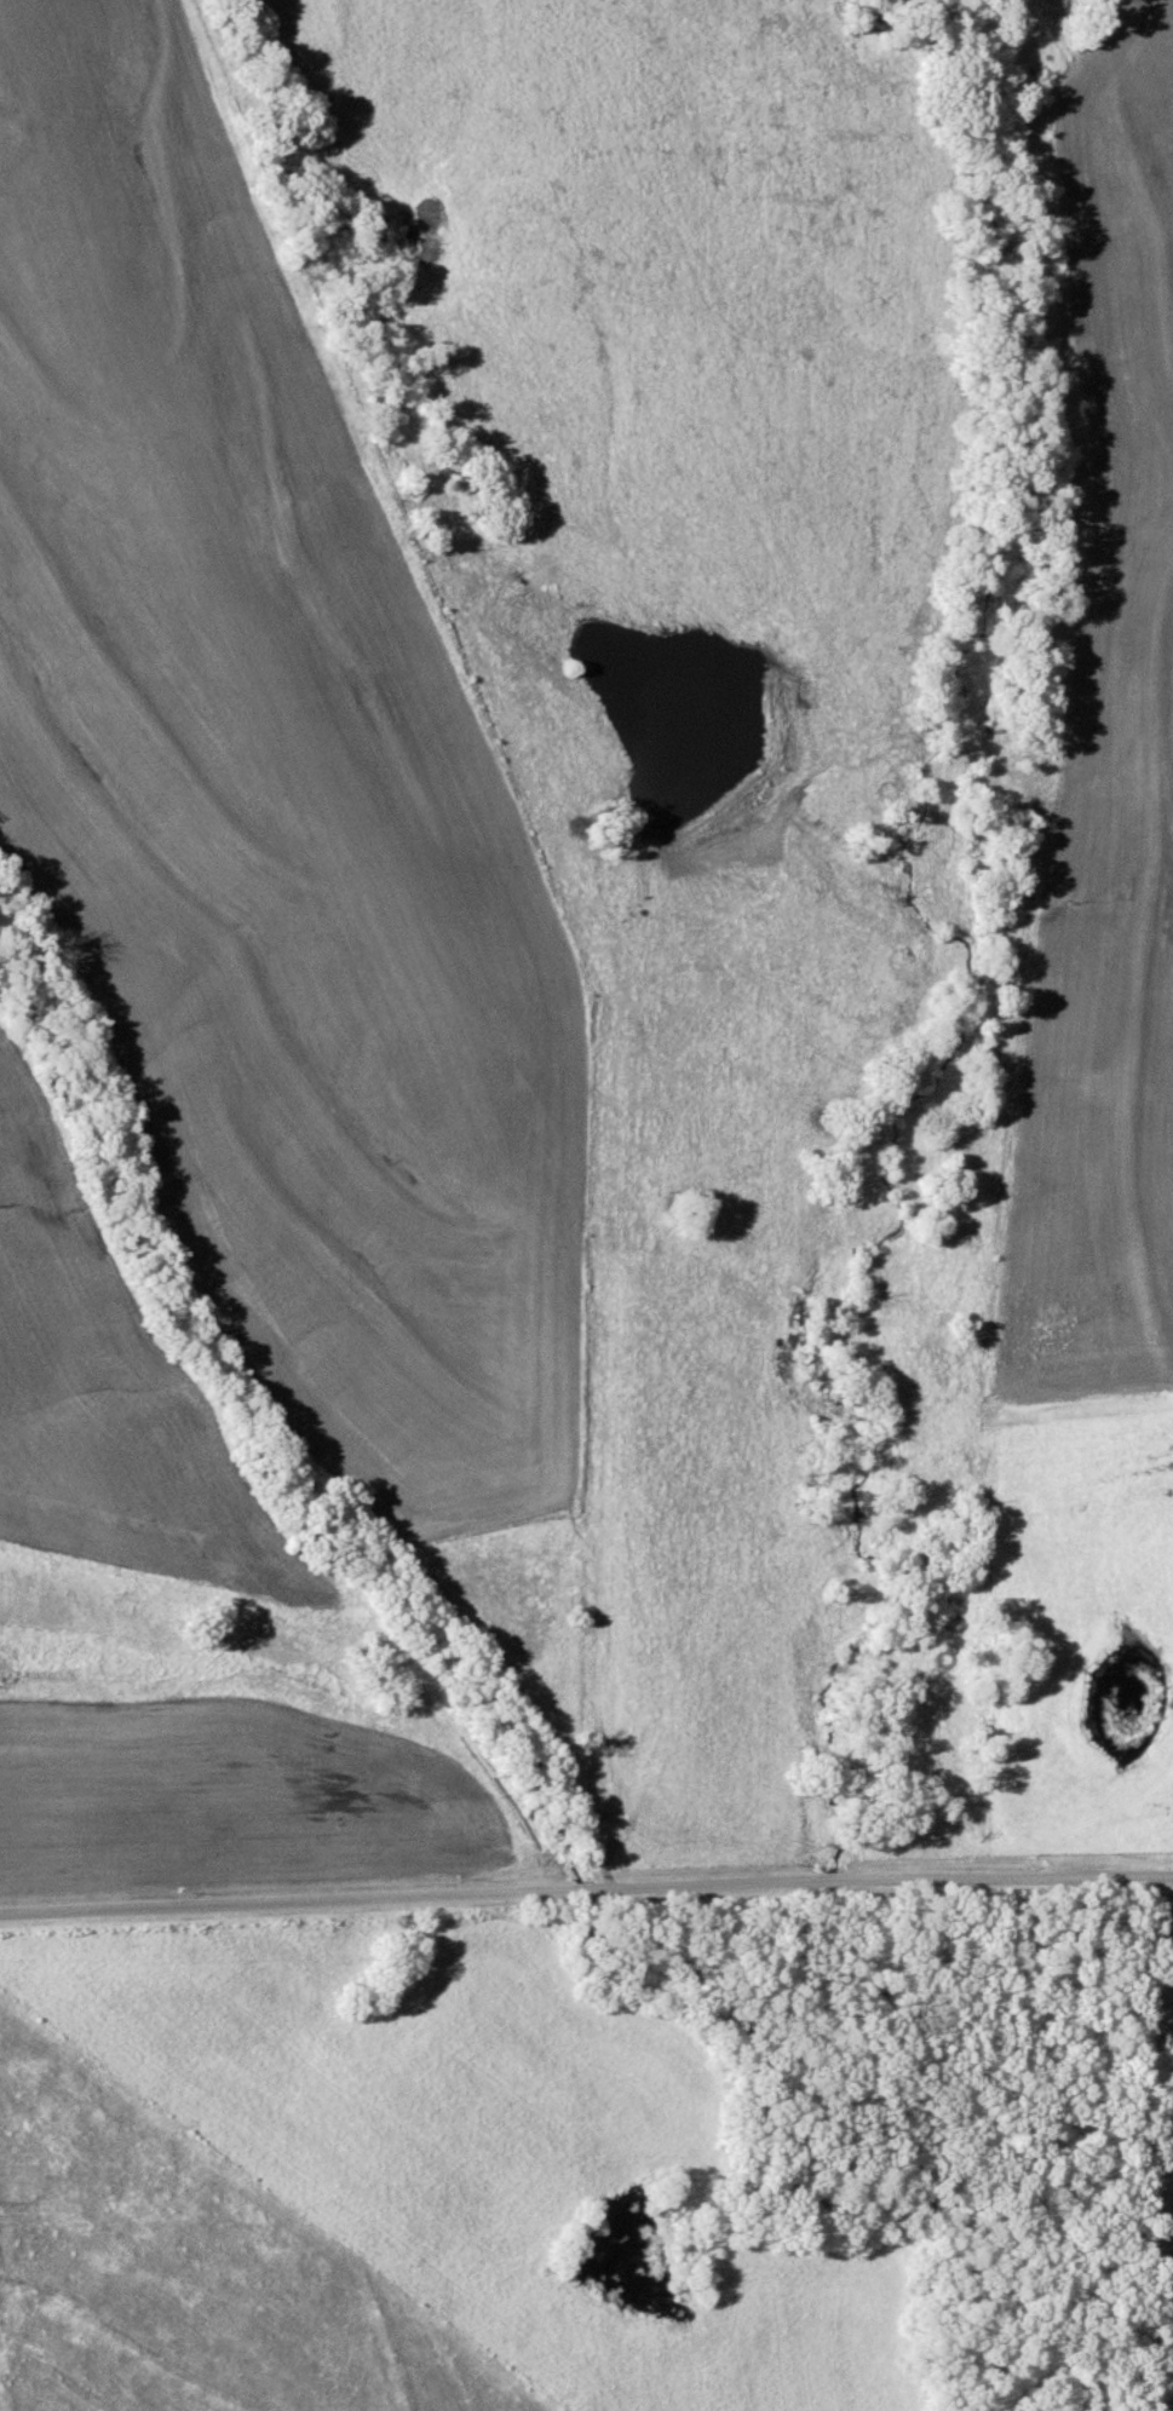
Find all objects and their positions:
road: (586, 1891)

